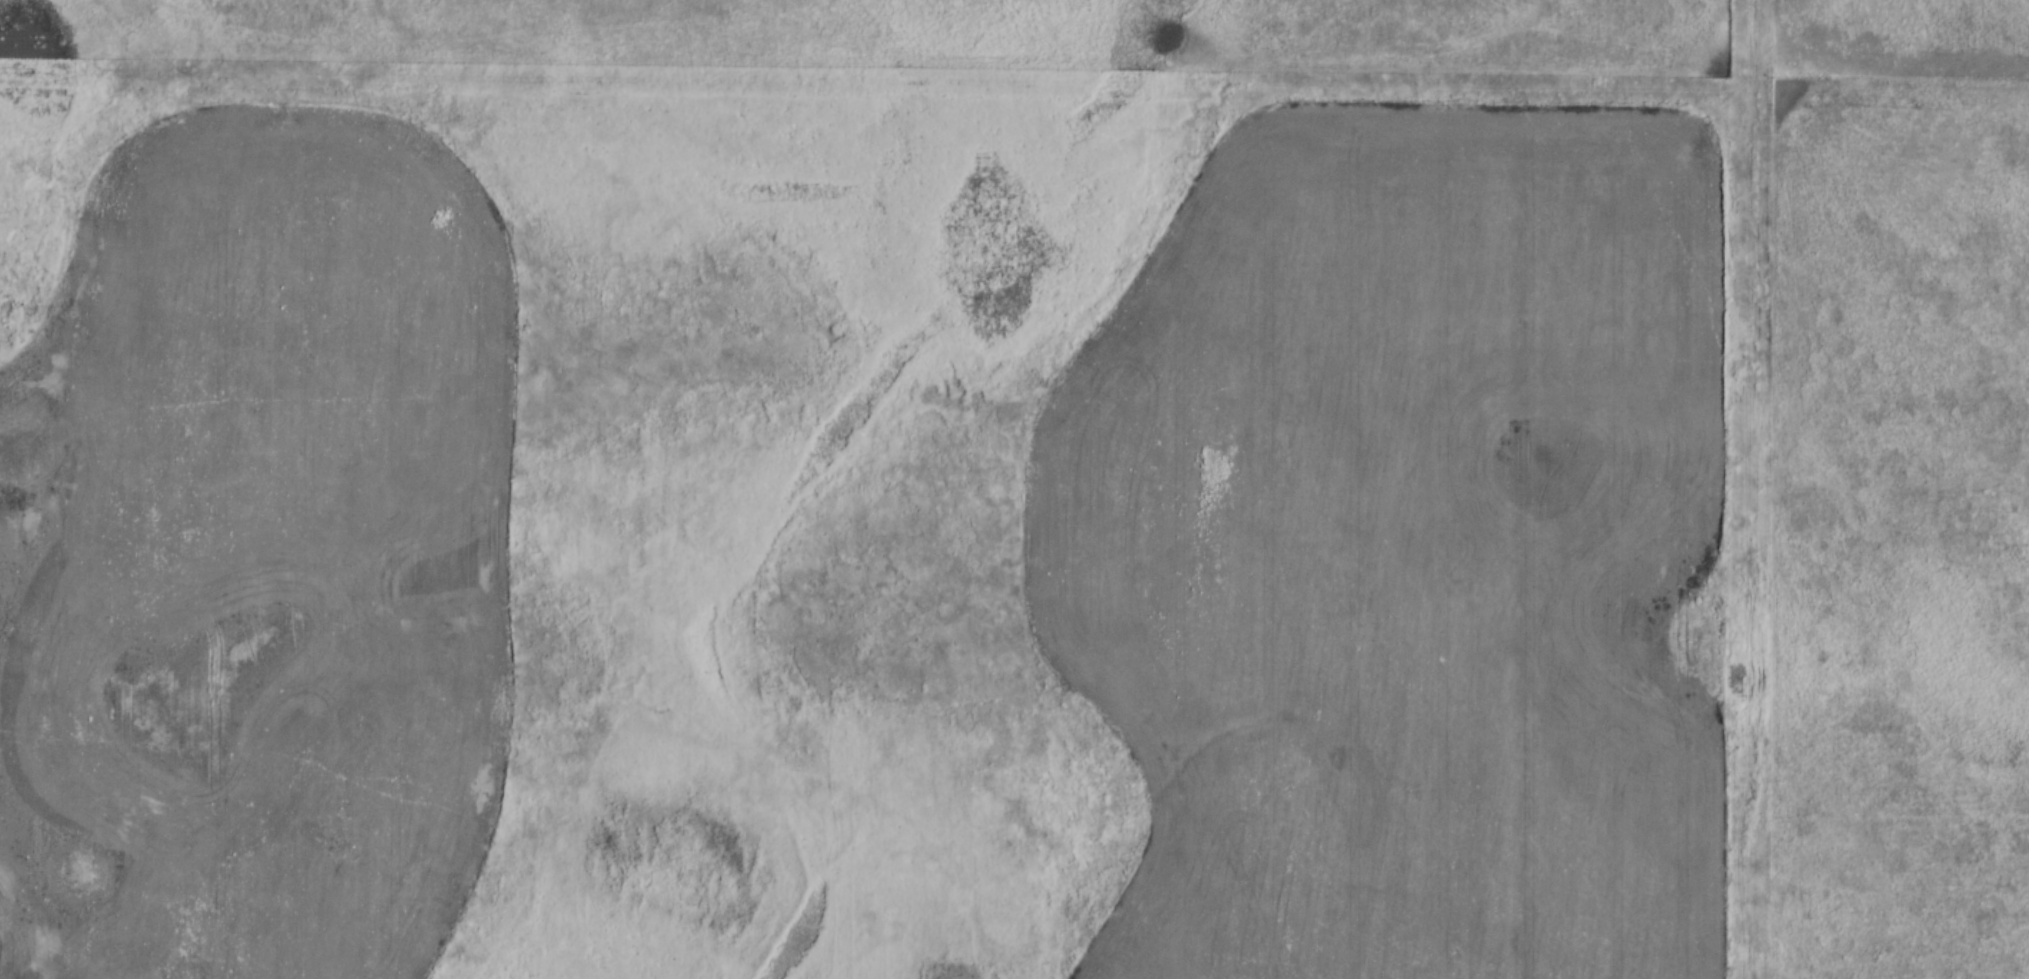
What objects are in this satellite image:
road: (1869, 96)
road: (1751, 487)

